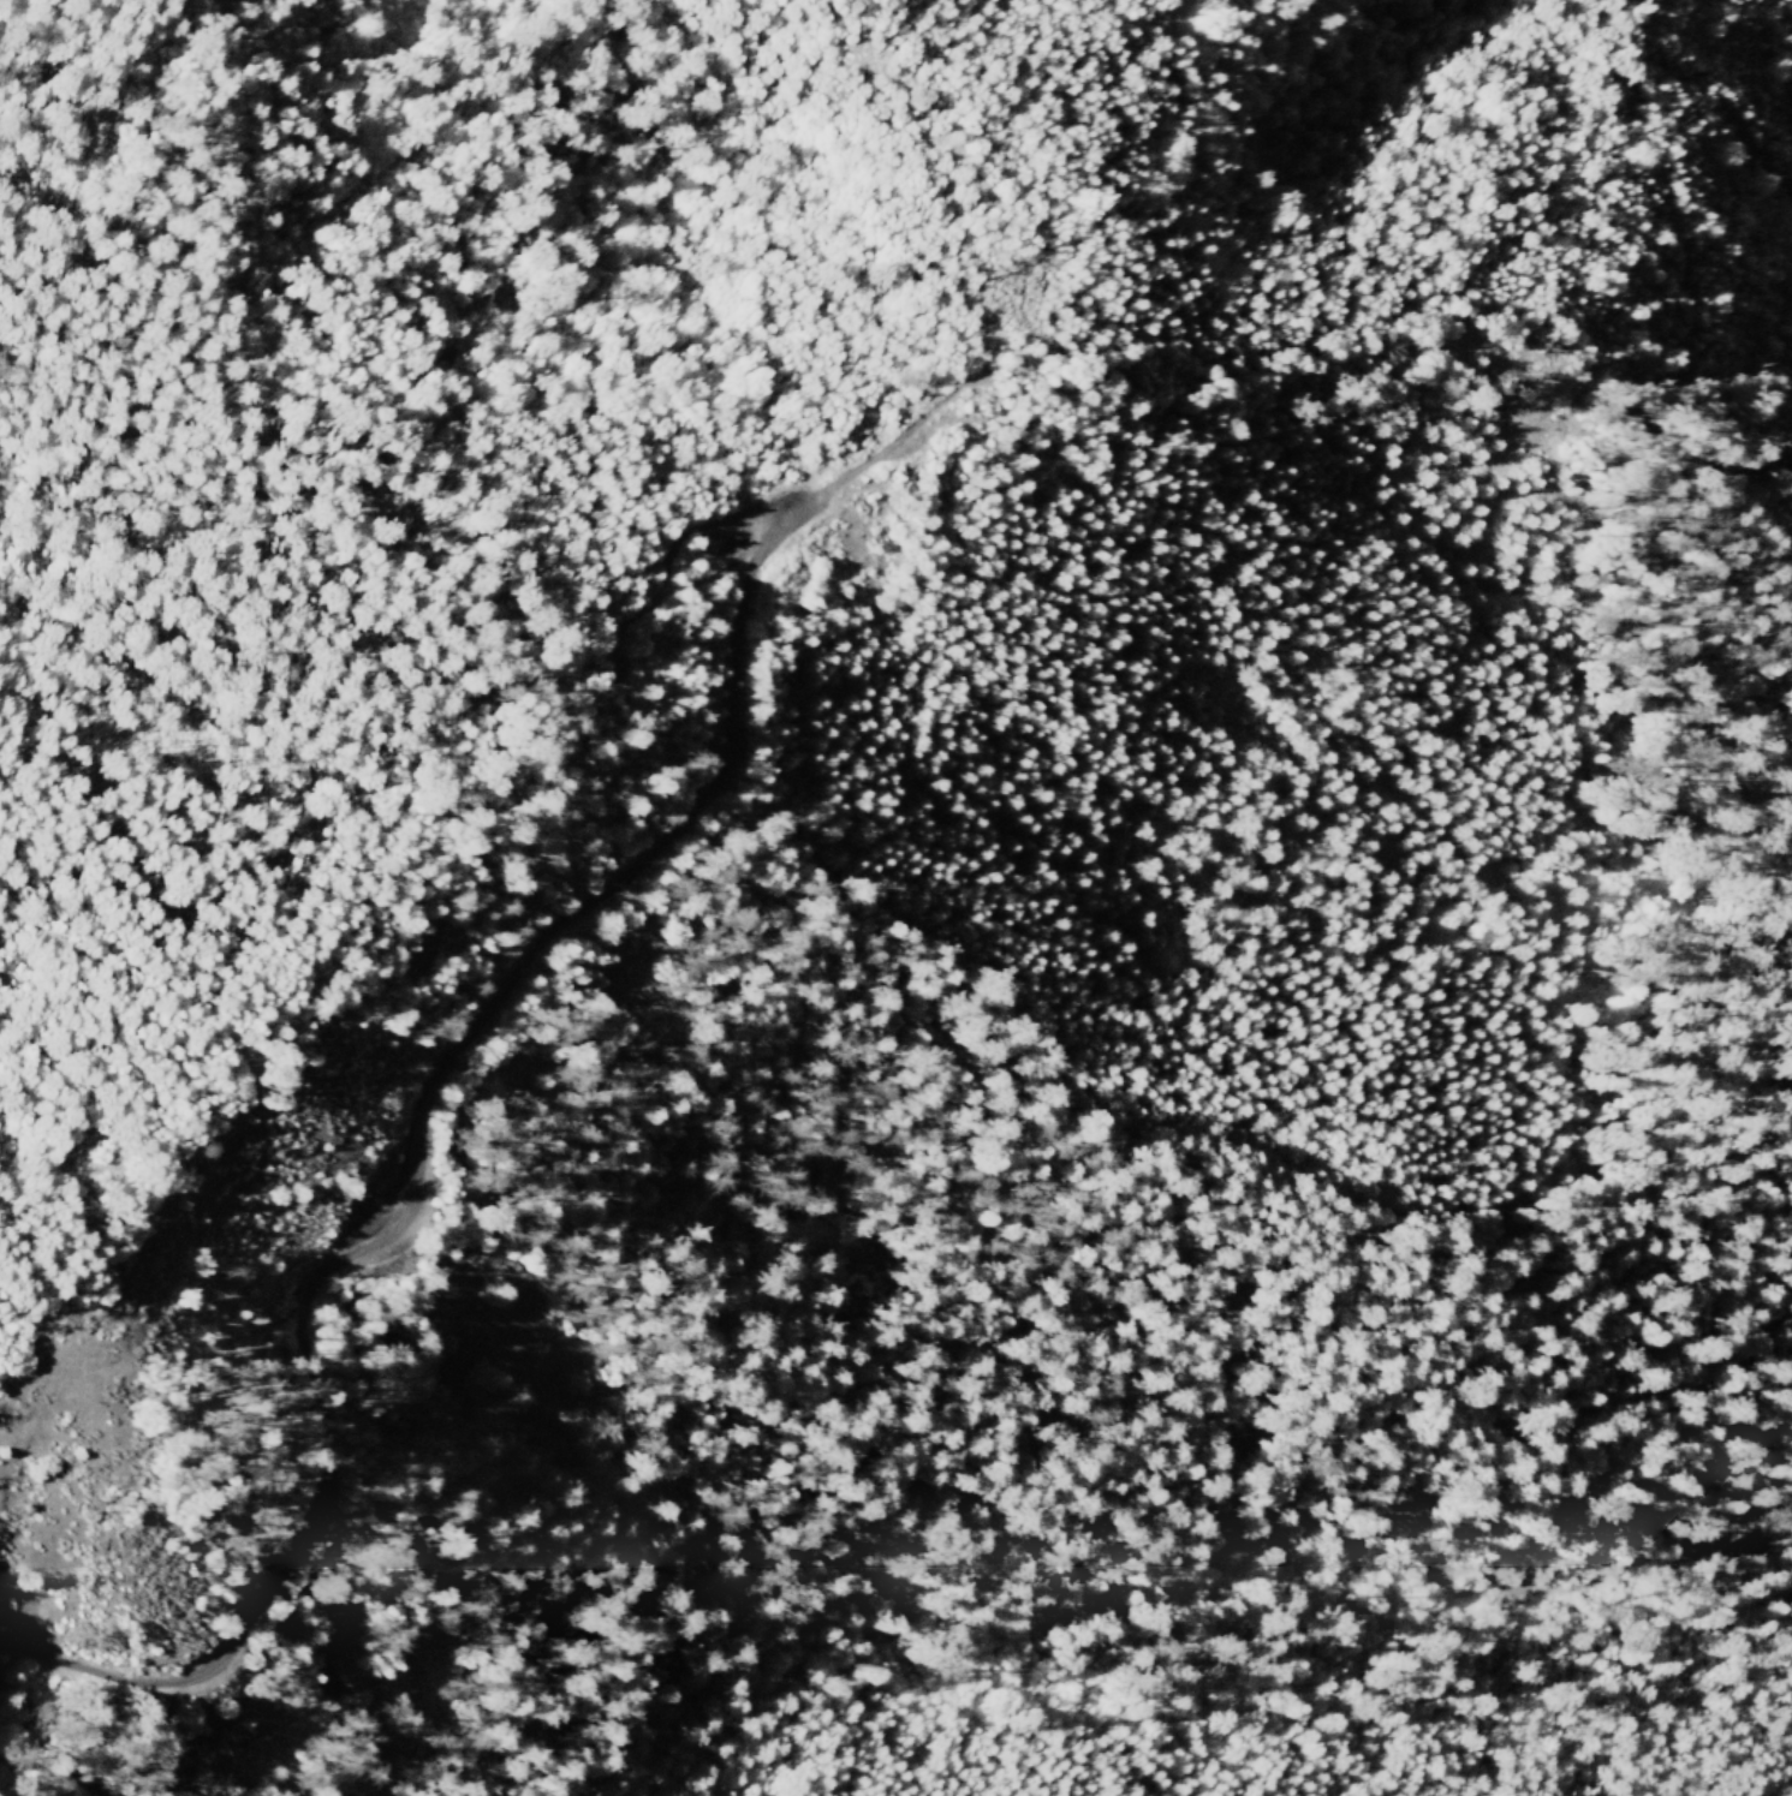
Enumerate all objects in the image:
road: (410, 1166)
road: (1778, 1782)

